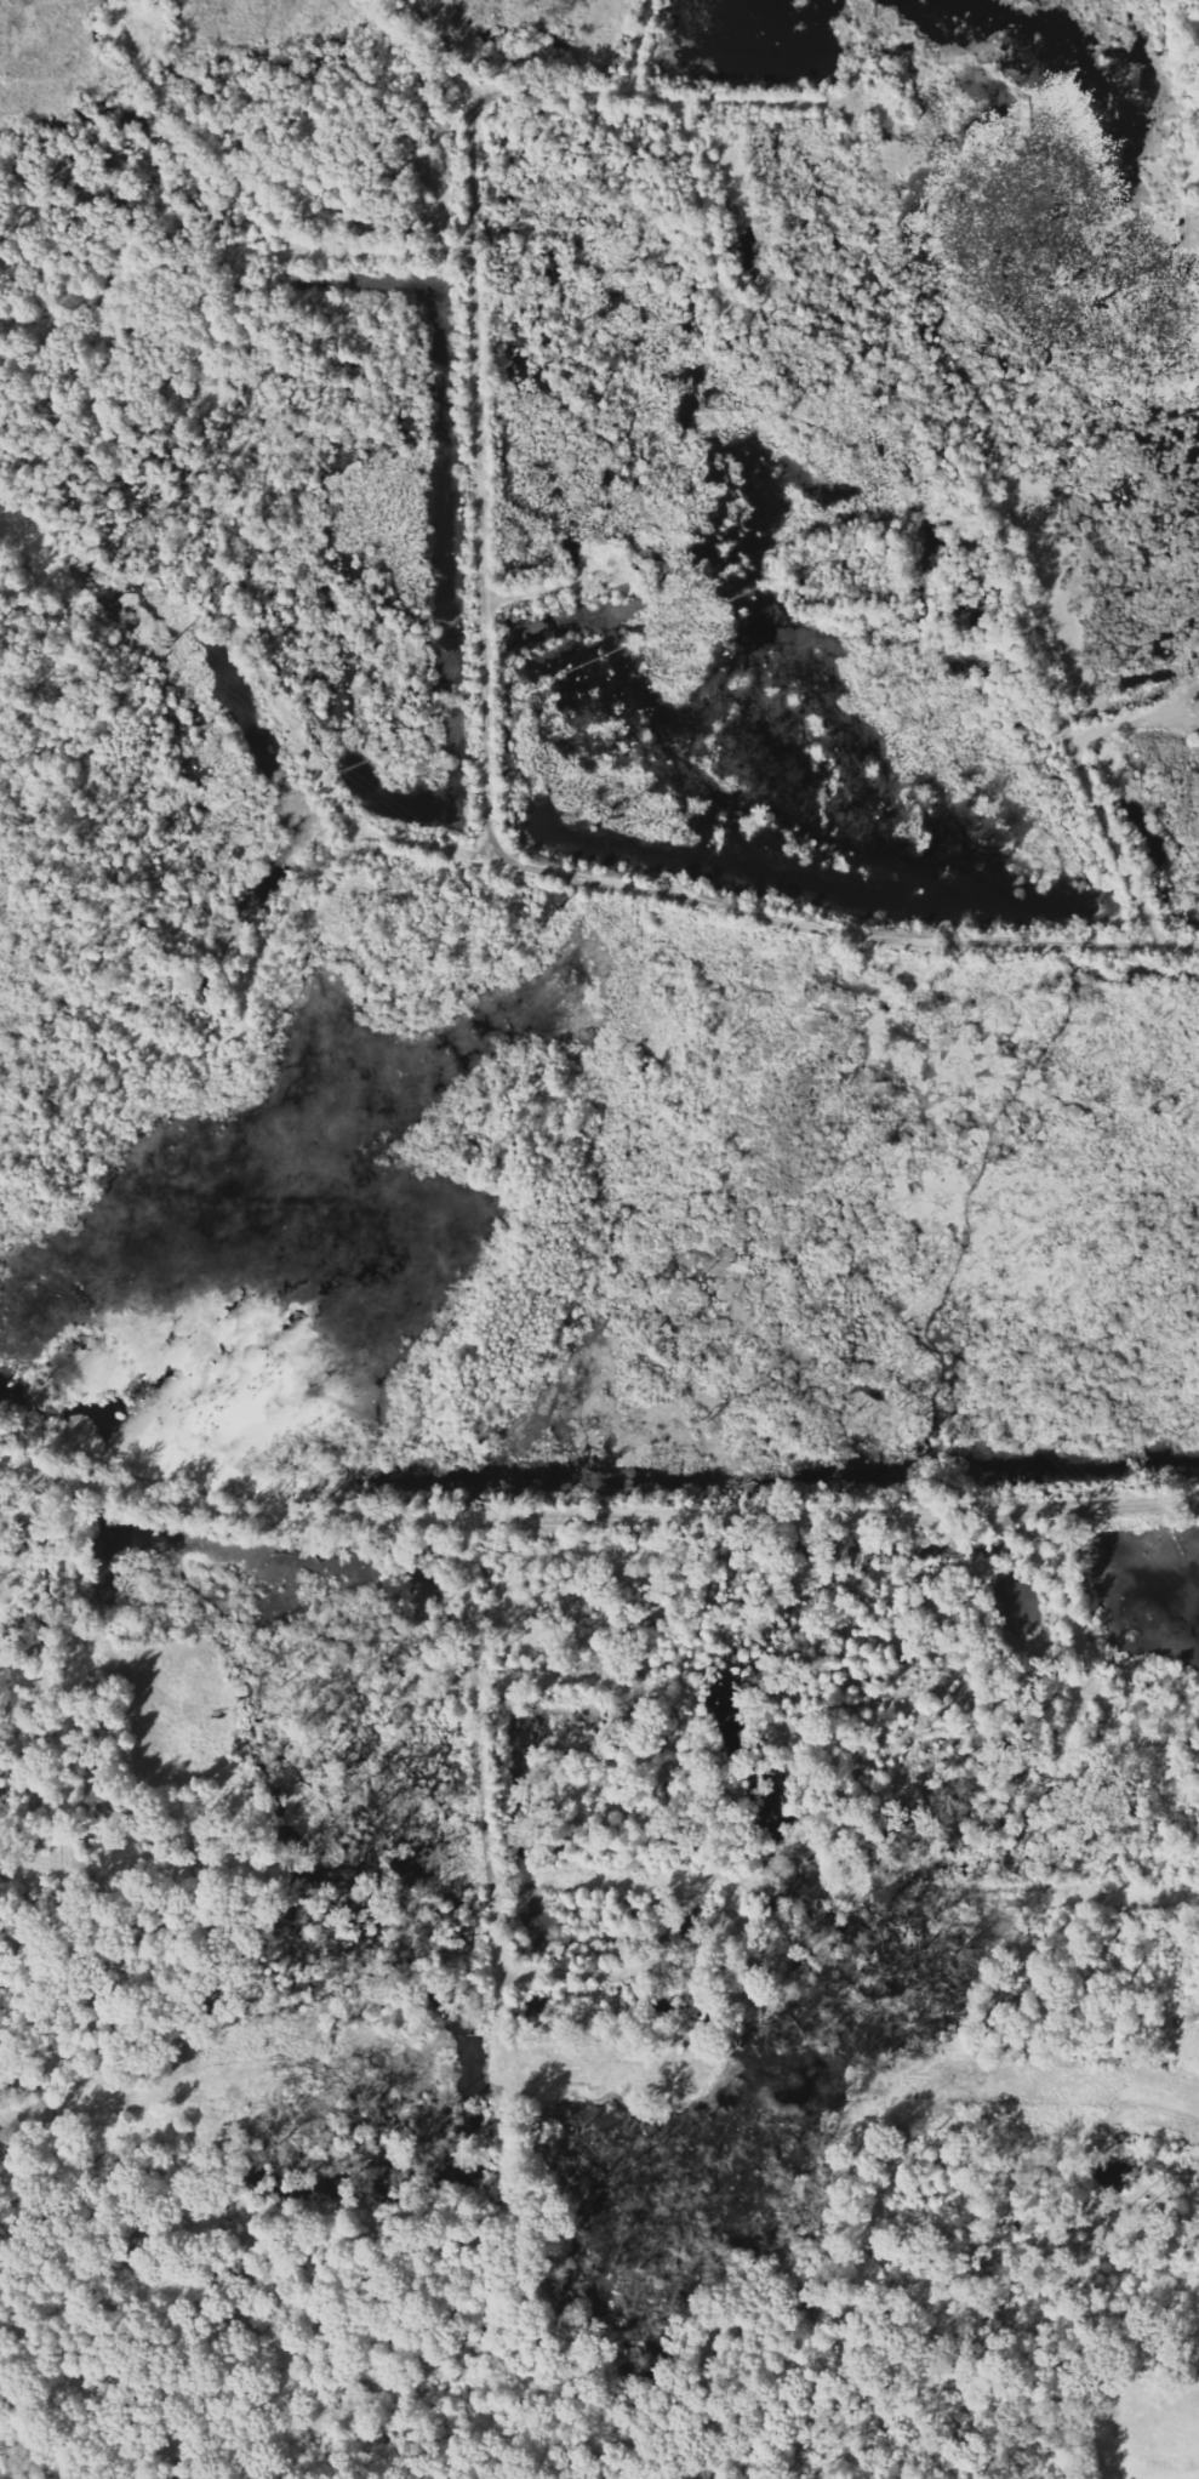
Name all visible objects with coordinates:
power tower: (166, 648)
power tower: (548, 917)
power tower: (824, 1213)
road: (595, 1518)

